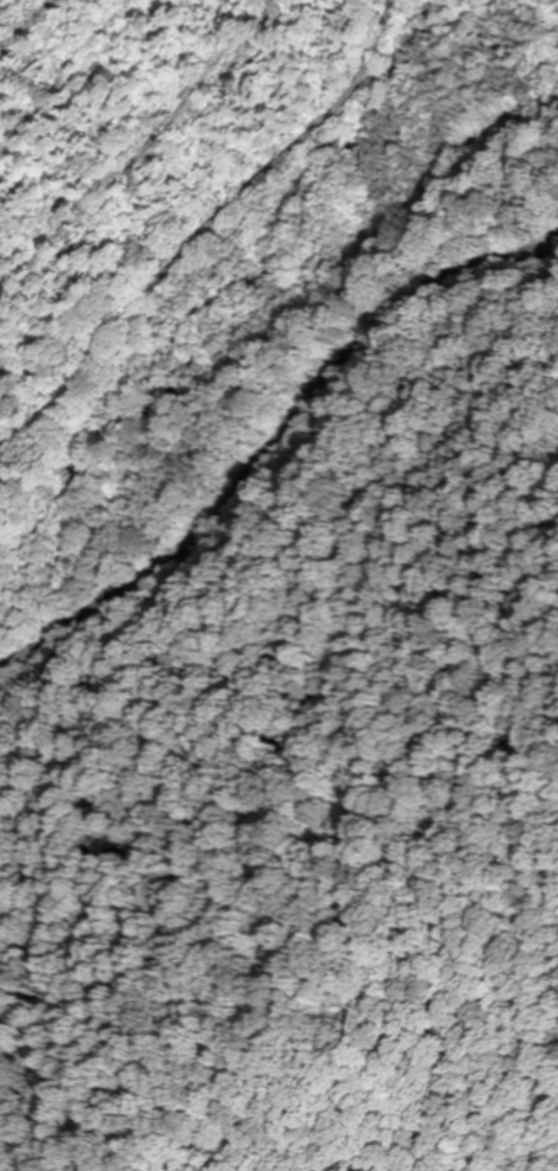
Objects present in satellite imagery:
road: (192, 244)
road: (271, 453)

